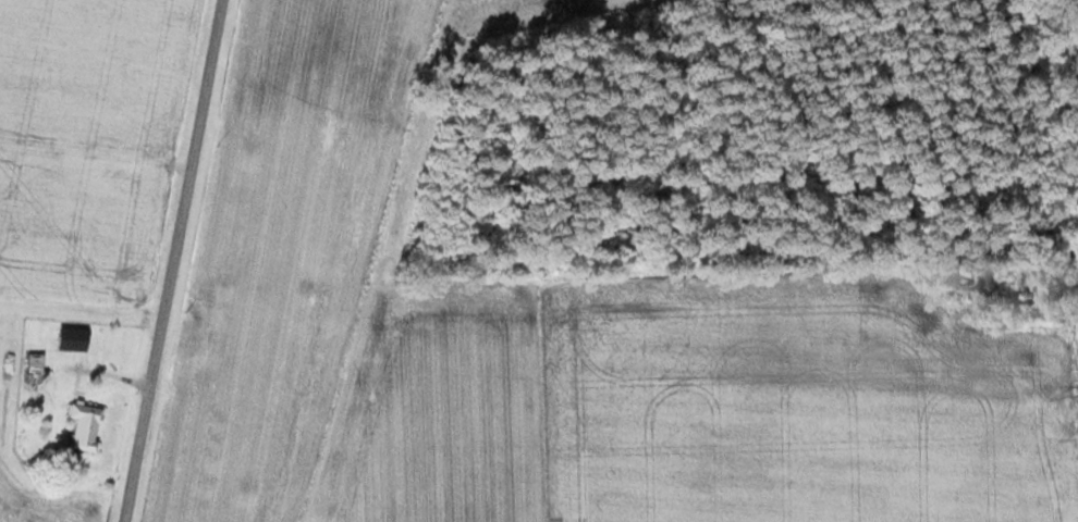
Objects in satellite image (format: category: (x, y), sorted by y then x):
road: (179, 260)
building: (58, 337)
building: (34, 365)
building: (83, 427)

